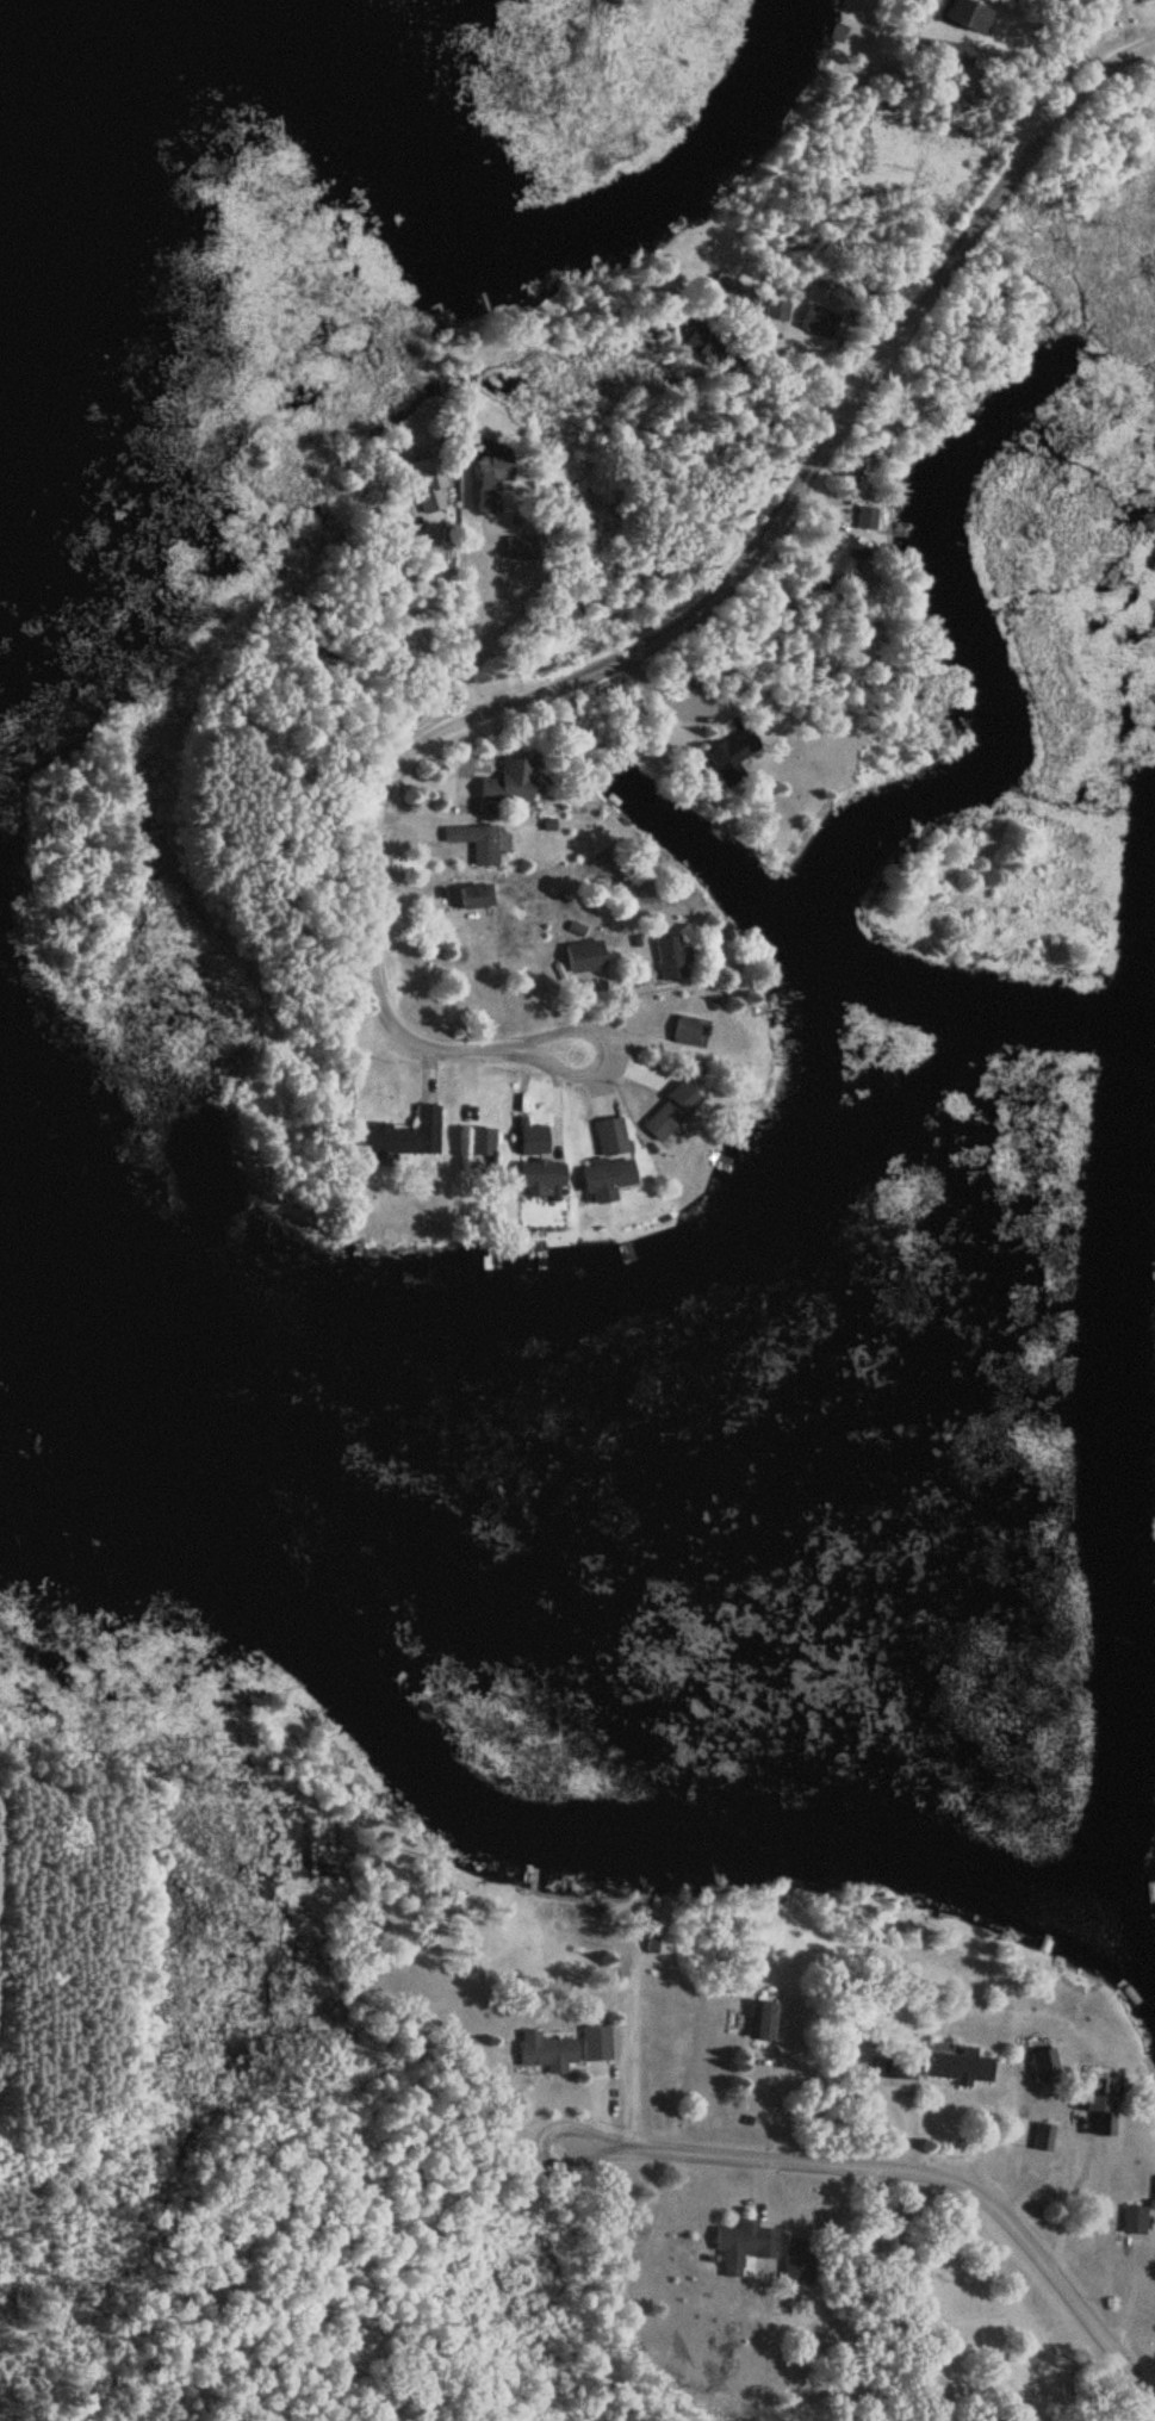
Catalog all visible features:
building: (977, 15)
building: (741, 298)
building: (777, 312)
building: (431, 485)
building: (495, 485)
building: (522, 547)
building: (847, 563)
road: (653, 638)
building: (733, 752)
building: (511, 783)
building: (486, 845)
building: (476, 896)
building: (585, 956)
building: (671, 958)
building: (688, 1030)
building: (404, 1137)
building: (482, 1148)
building: (610, 1163)
building: (544, 1174)
building: (768, 2022)
building: (597, 2043)
building: (547, 2051)
building: (961, 2066)
building: (900, 2069)
road: (884, 2172)
building: (1135, 2222)
building: (745, 2247)

